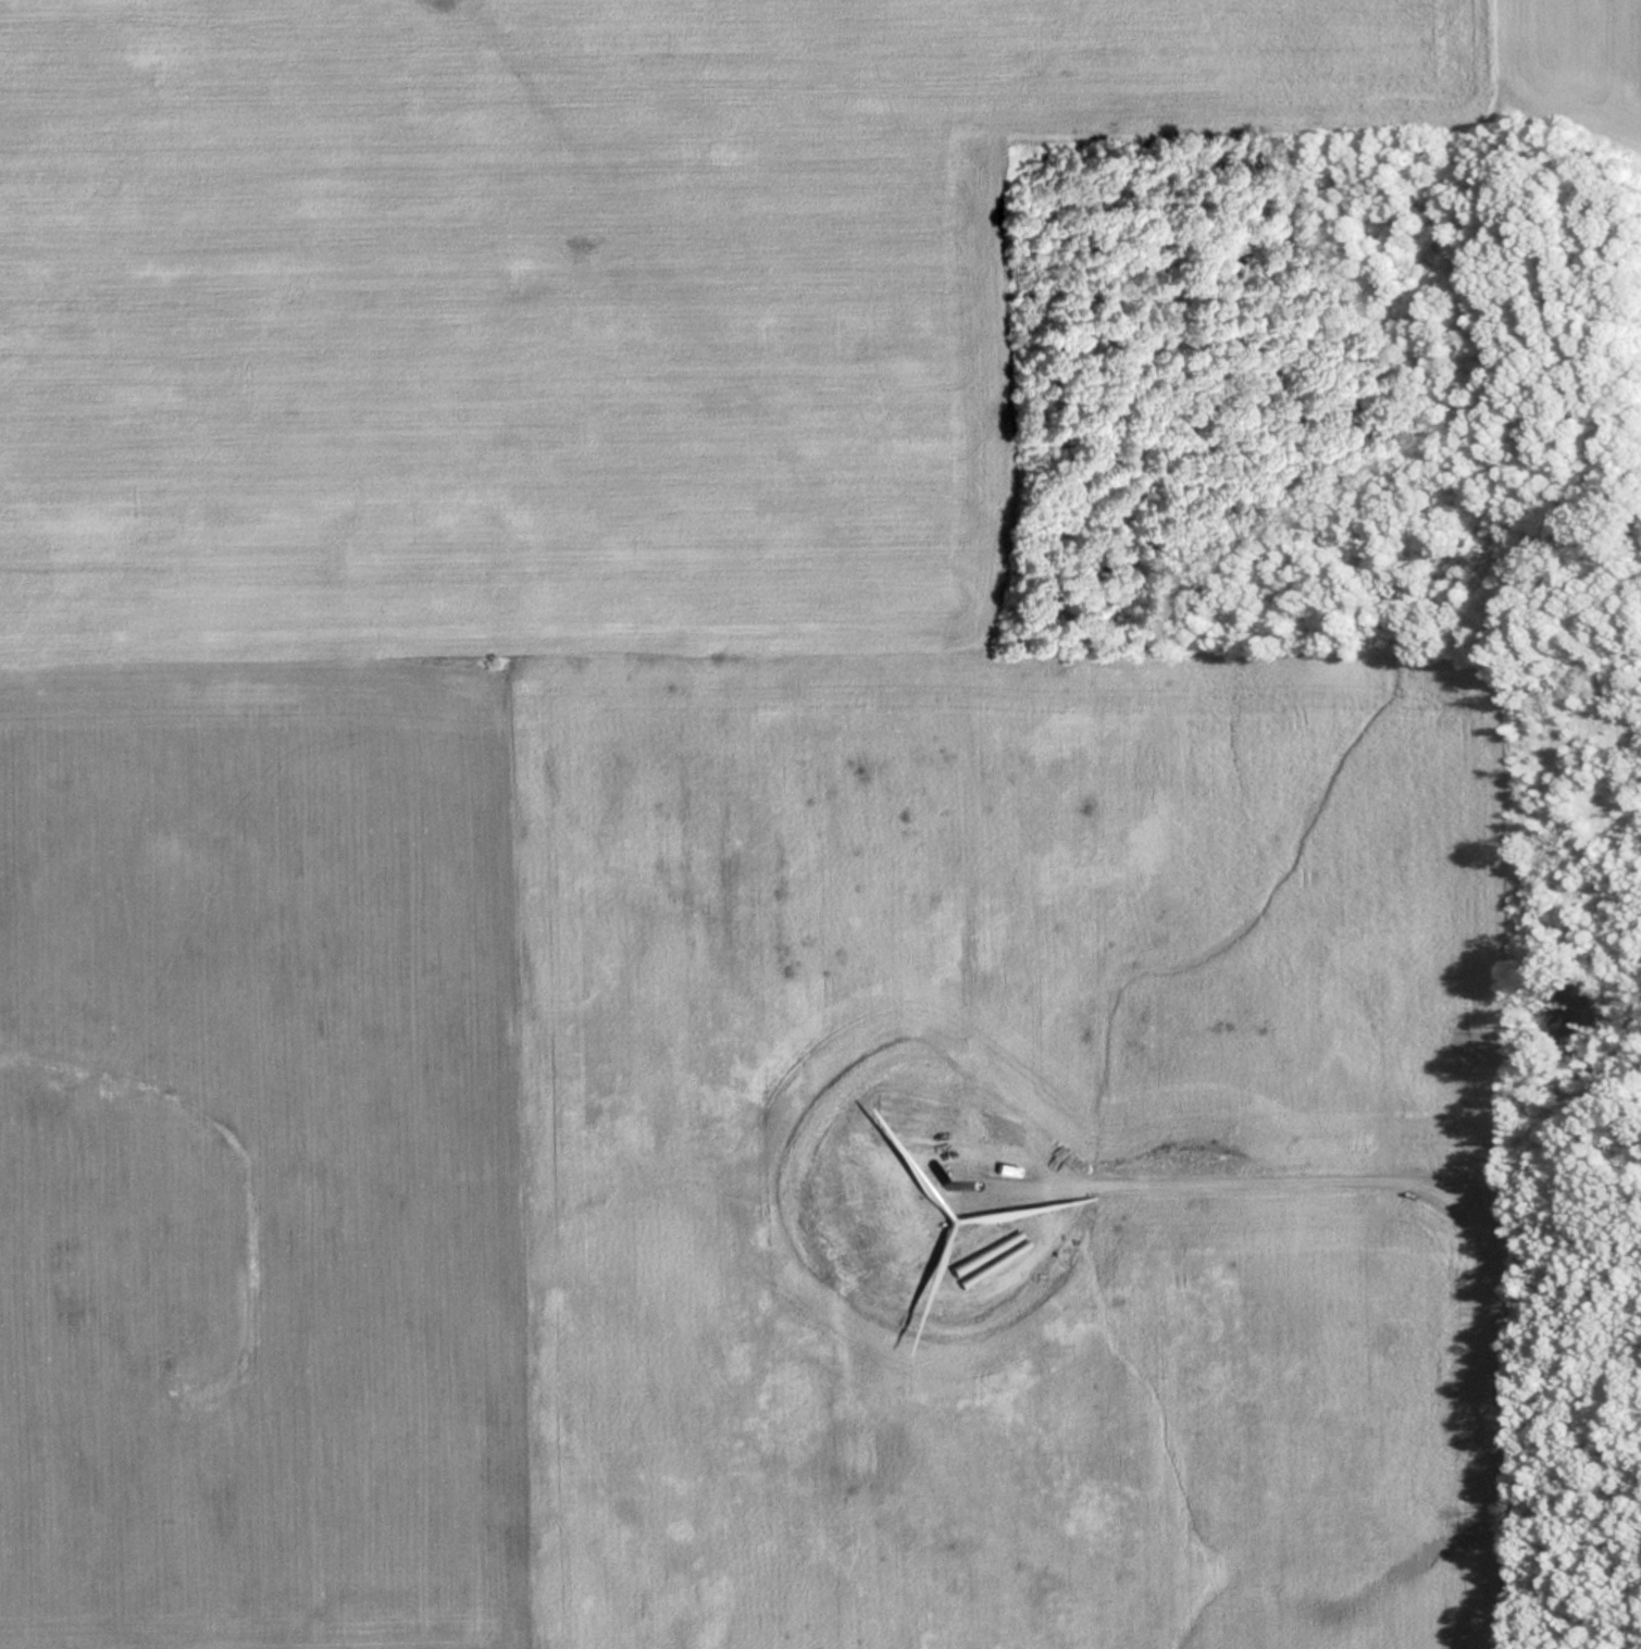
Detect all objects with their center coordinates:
wind turbine: (957, 1191)

